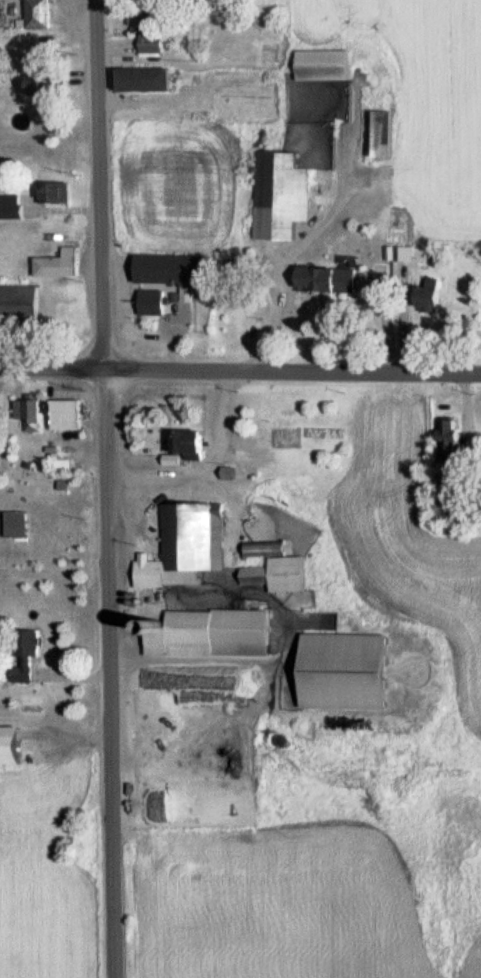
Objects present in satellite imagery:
building: (45, 13)
building: (151, 32)
building: (328, 64)
building: (148, 79)
building: (51, 84)
building: (385, 133)
building: (57, 192)
building: (282, 194)
building: (14, 205)
building: (398, 253)
building: (63, 263)
building: (233, 266)
building: (176, 271)
building: (333, 277)
parking lot: (125, 284)
road: (114, 289)
building: (434, 294)
building: (154, 302)
building: (21, 304)
road: (173, 344)
road: (240, 373)
building: (71, 414)
building: (195, 442)
building: (449, 444)
building: (233, 472)
road: (107, 489)
building: (461, 509)
building: (189, 545)
building: (269, 547)
building: (282, 573)
building: (214, 633)
building: (30, 654)
building: (352, 671)
building: (17, 746)

